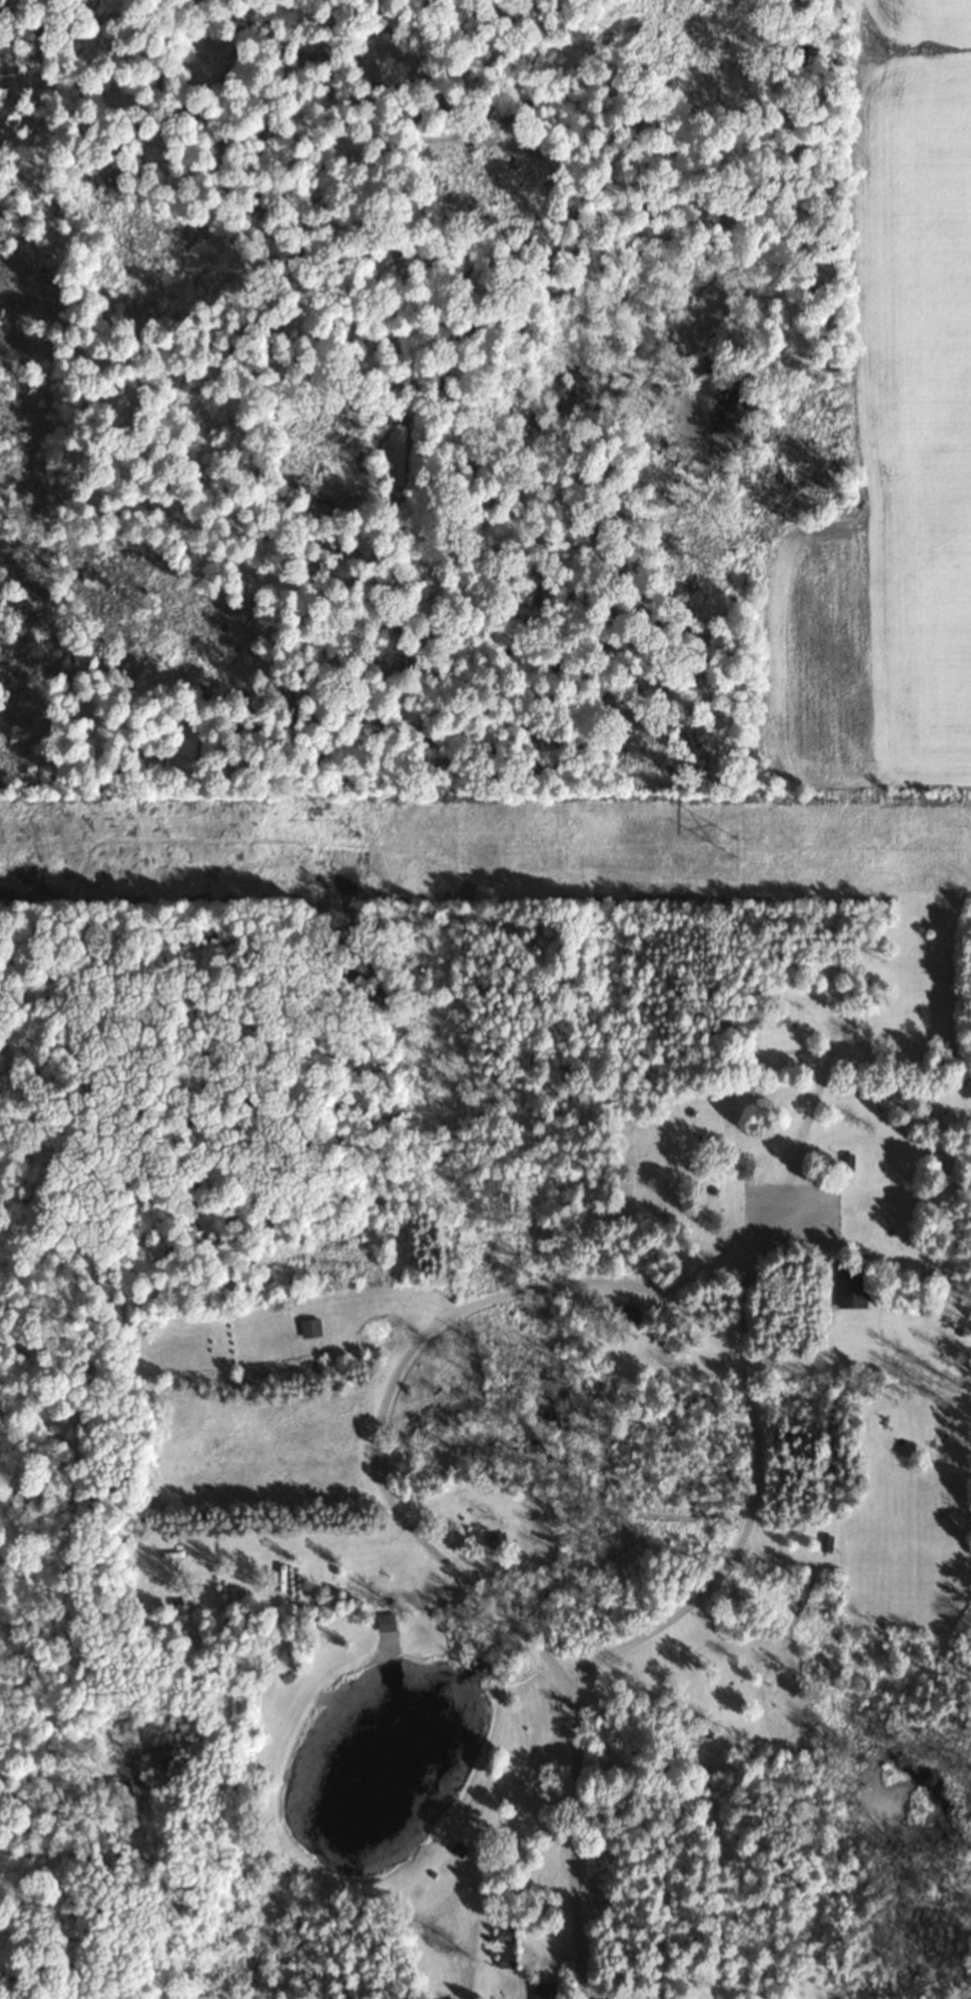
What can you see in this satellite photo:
power tower: (736, 845)
building: (846, 1161)
building: (851, 1286)
building: (628, 1314)
building: (495, 1539)
building: (825, 1543)
building: (179, 1604)
building: (385, 1622)
building: (458, 1849)
building: (504, 1935)
building: (505, 1961)
building: (542, 1991)

